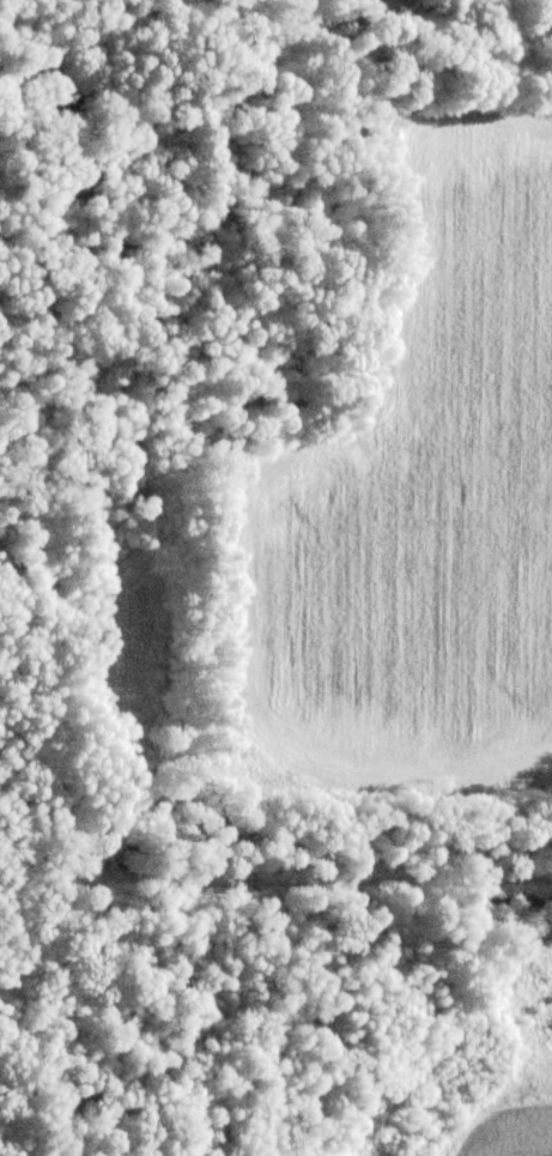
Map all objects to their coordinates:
road: (275, 303)

